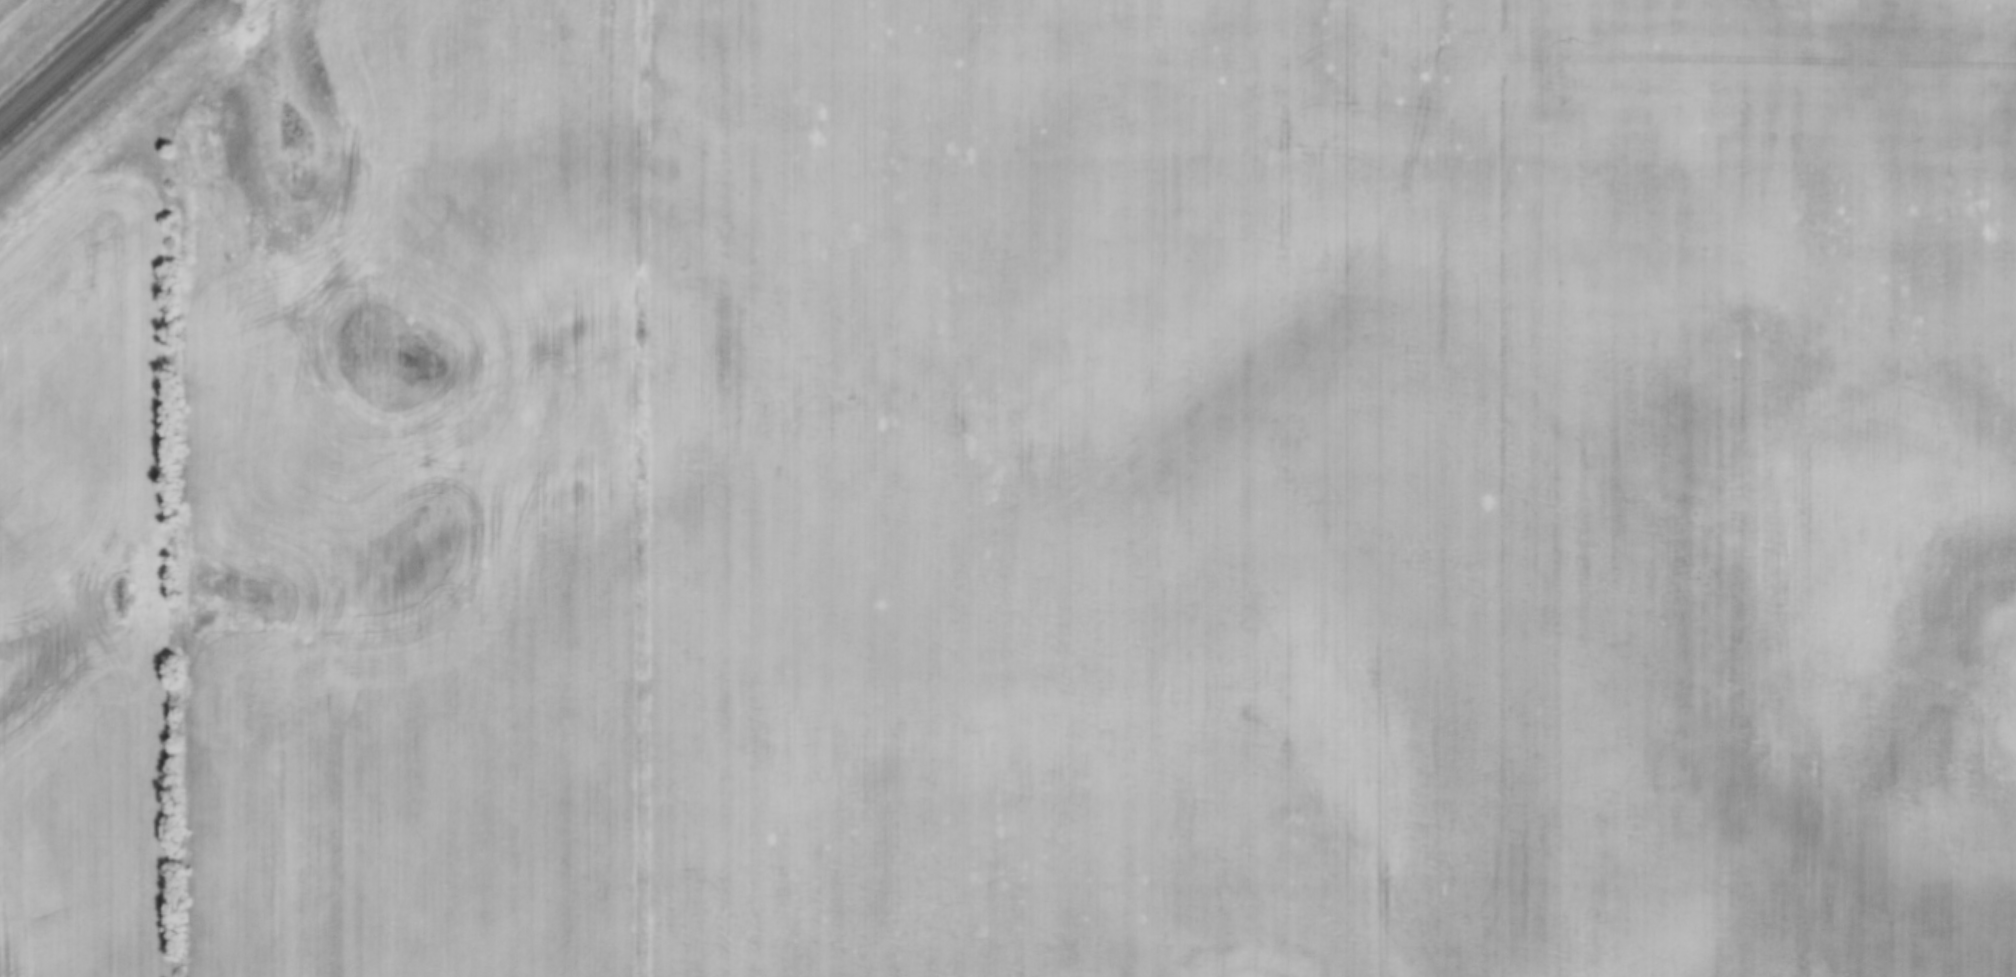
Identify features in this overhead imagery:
railway: (70, 62)
railway: (79, 70)

